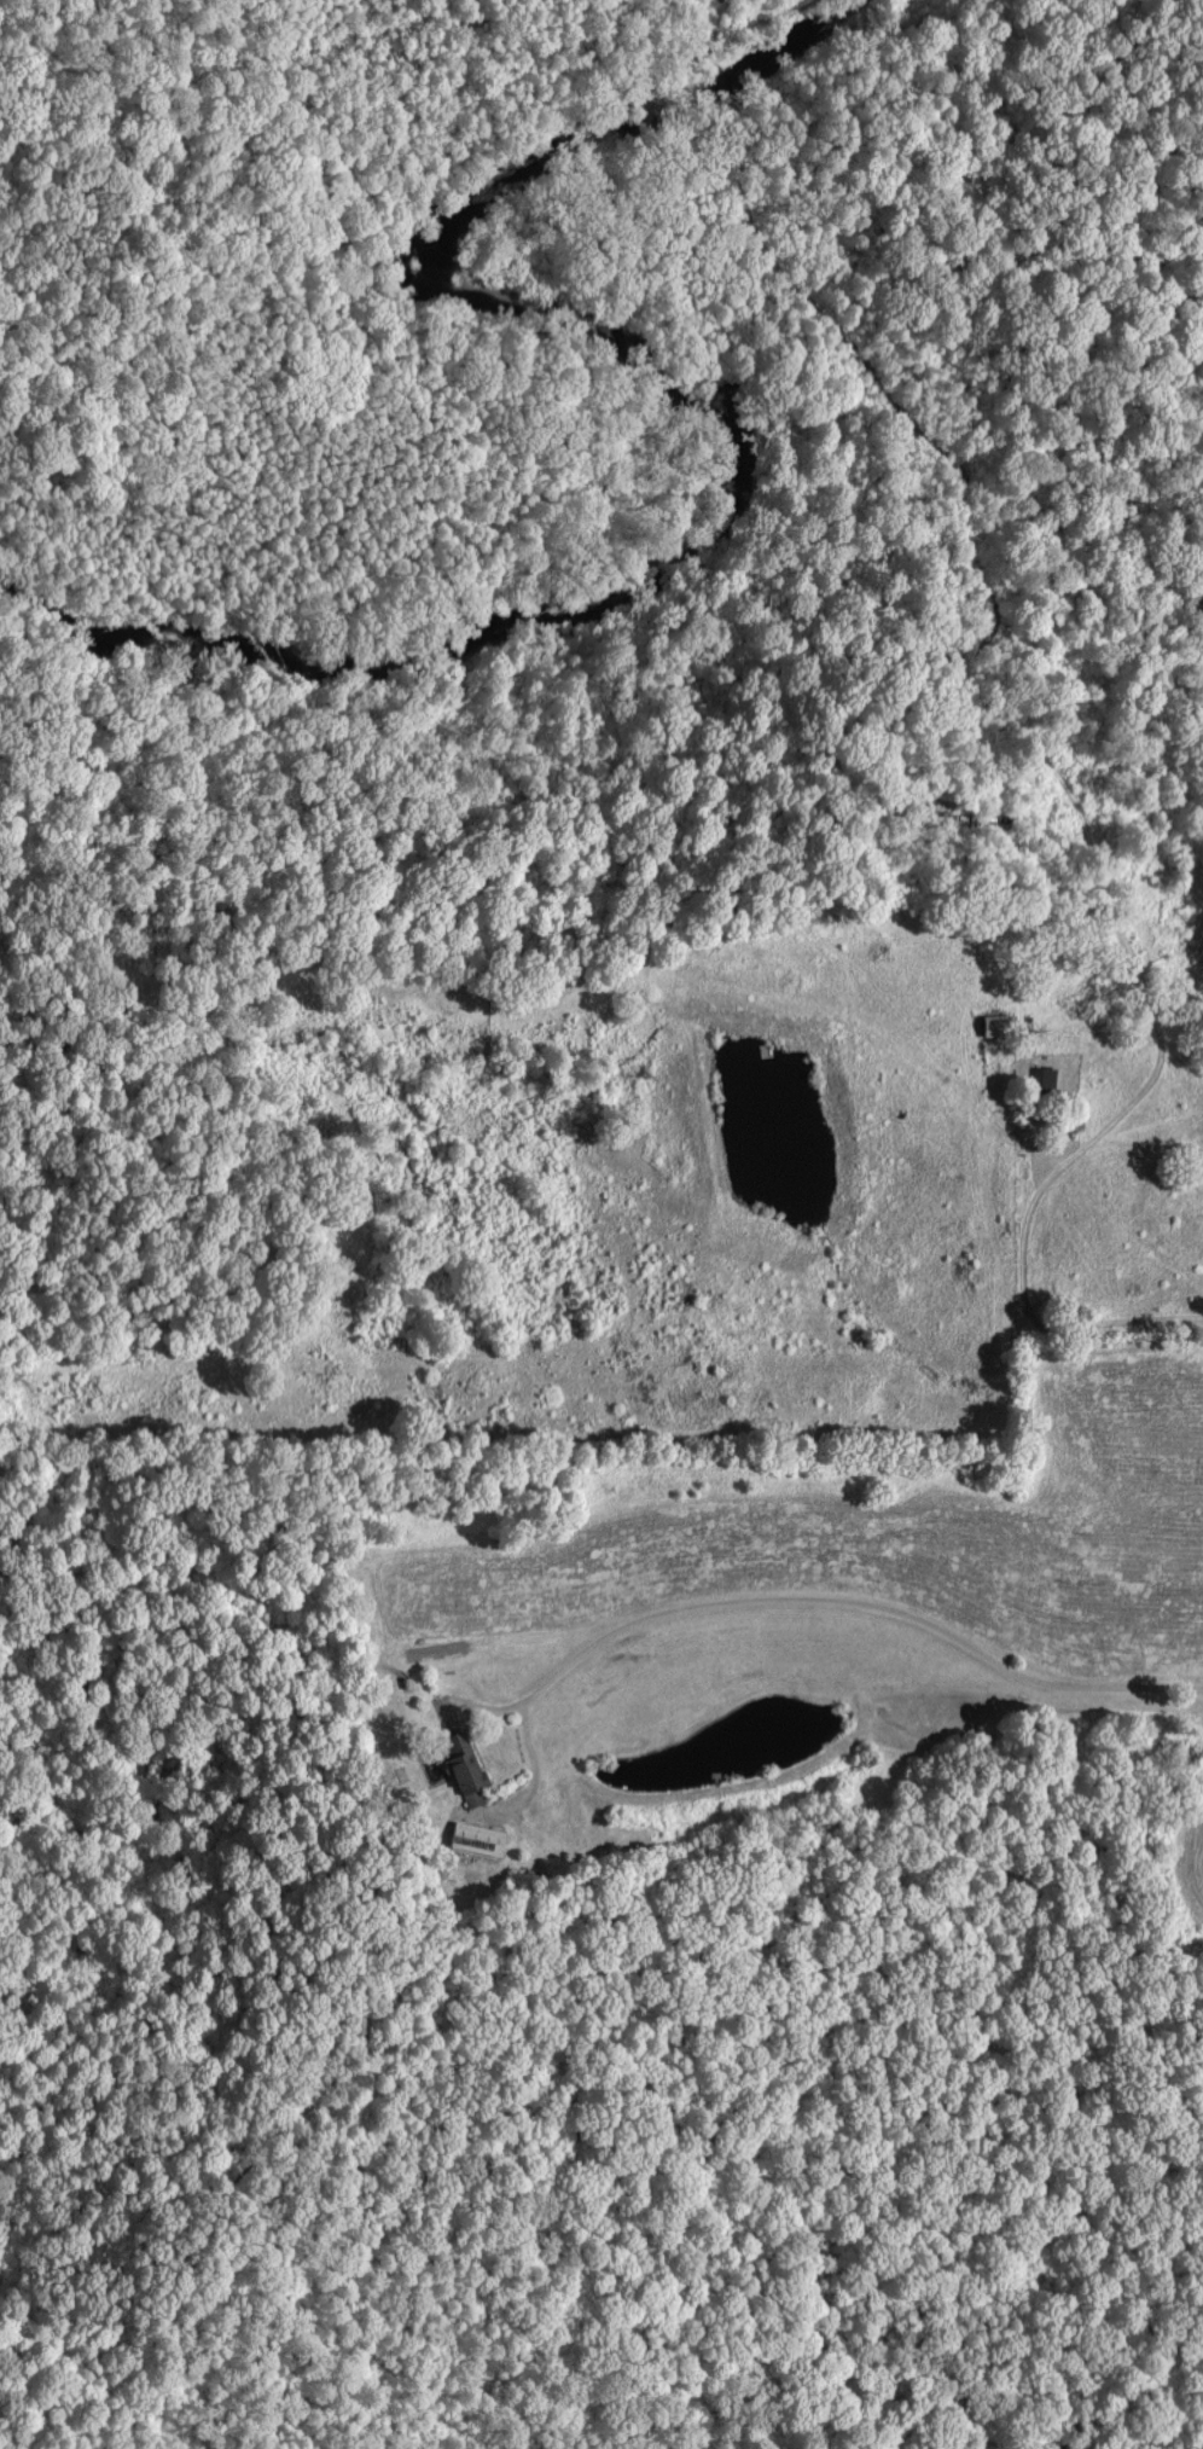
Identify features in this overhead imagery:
building: (467, 1766)
building: (482, 1839)

